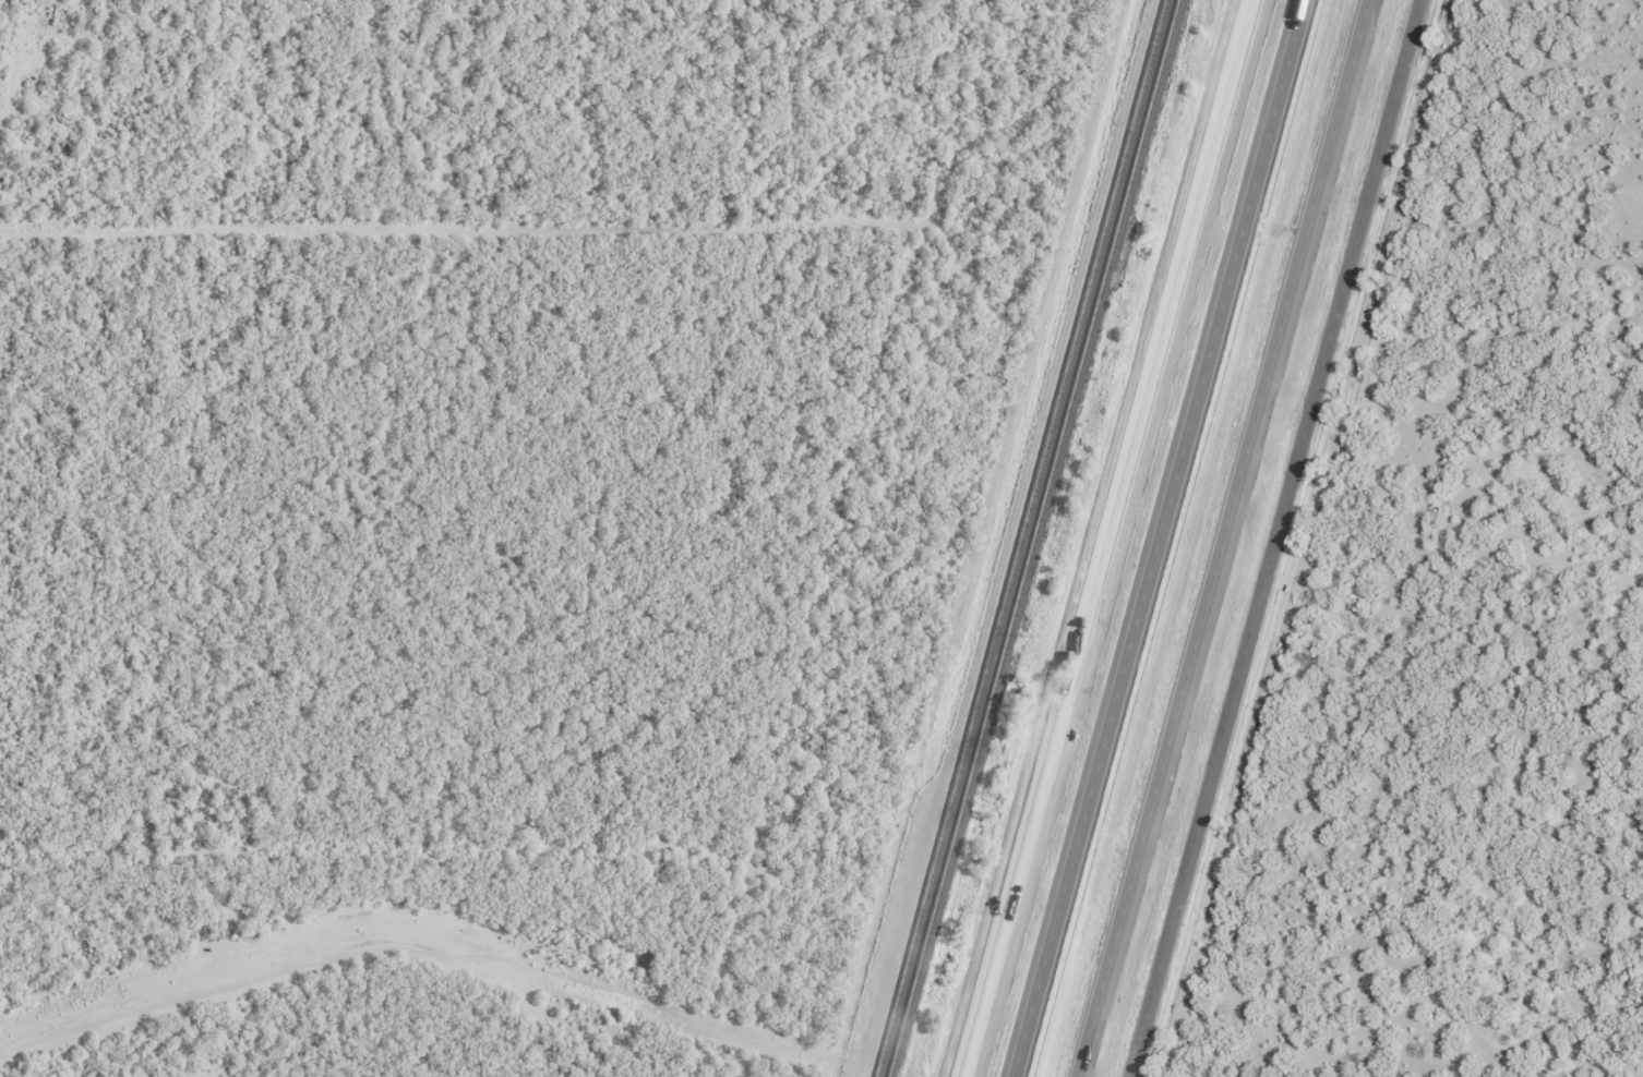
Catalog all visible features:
railway: (1030, 537)
road: (1158, 537)
road: (1221, 537)
road: (1104, 538)
road: (1276, 538)

